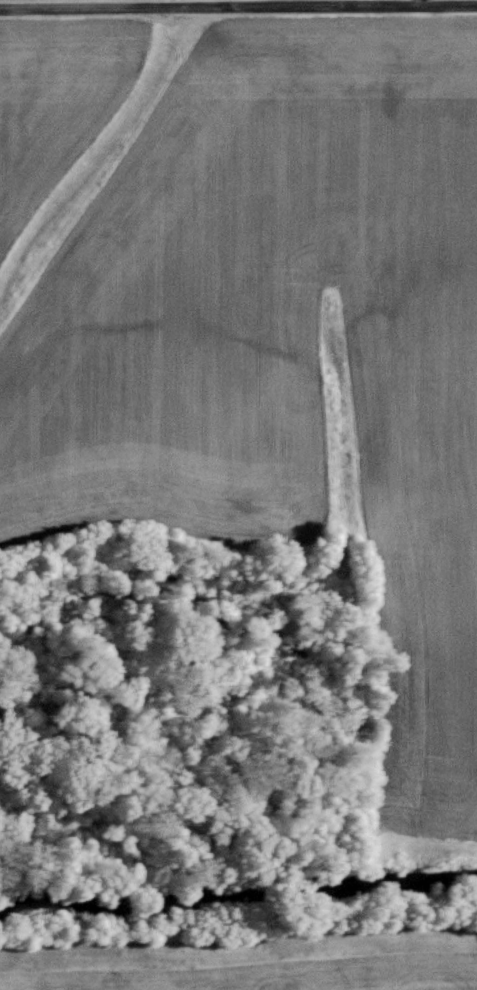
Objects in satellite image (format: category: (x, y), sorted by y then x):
road: (238, 3)
river: (238, 877)

